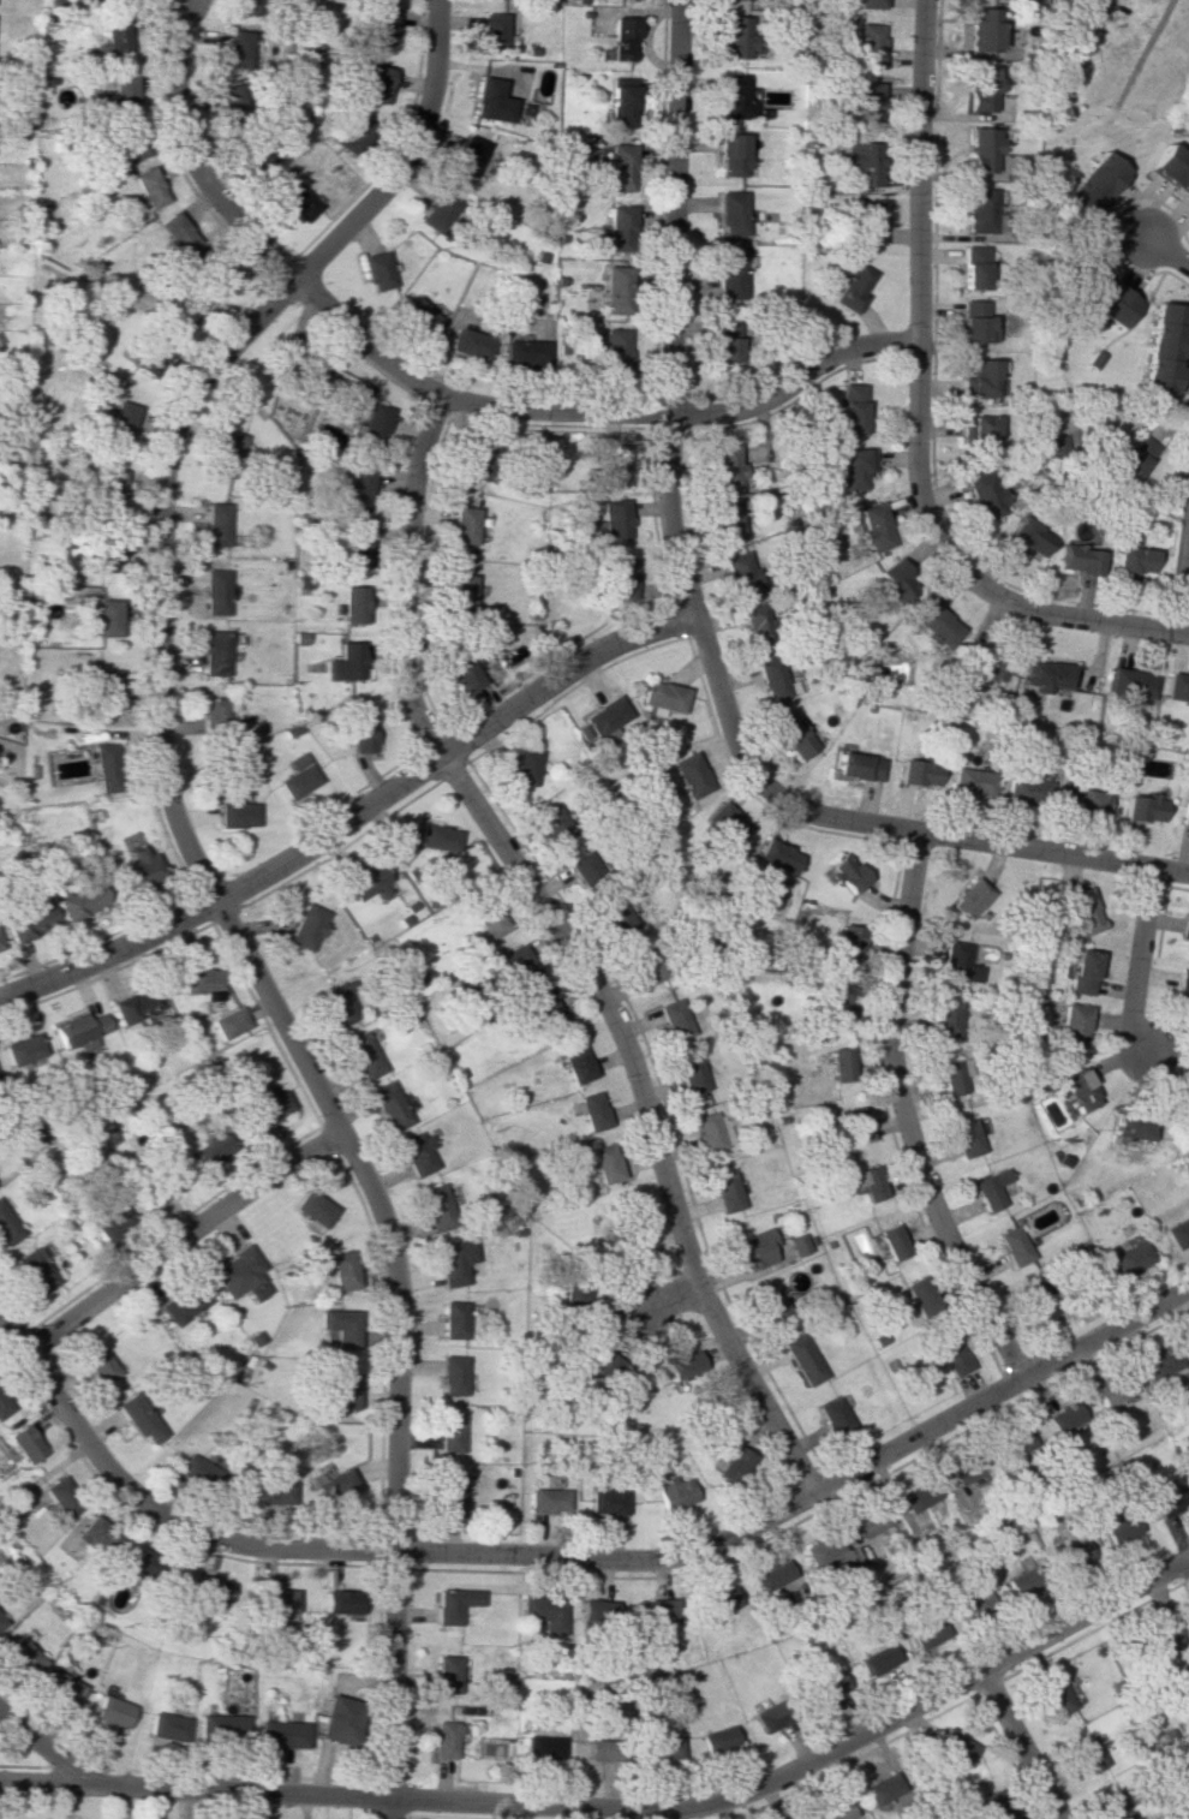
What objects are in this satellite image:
building: (1094, 1)
building: (871, 4)
building: (249, 7)
building: (382, 25)
building: (982, 29)
building: (490, 30)
building: (115, 35)
building: (736, 36)
building: (623, 38)
building: (867, 44)
building: (378, 84)
building: (980, 88)
building: (124, 90)
building: (228, 93)
building: (734, 97)
building: (490, 101)
building: (621, 102)
building: (866, 102)
building: (354, 135)
building: (129, 141)
building: (257, 153)
building: (468, 155)
building: (731, 155)
road: (193, 159)
building: (860, 162)
building: (619, 167)
building: (1170, 169)
building: (151, 186)
building: (1088, 187)
building: (299, 202)
building: (980, 210)
building: (440, 211)
building: (730, 213)
building: (868, 222)
building: (619, 228)
building: (178, 231)
road: (1165, 252)
building: (972, 267)
building: (378, 272)
building: (728, 275)
building: (852, 287)
building: (614, 290)
building: (1098, 294)
building: (419, 316)
building: (973, 323)
road: (366, 342)
building: (470, 344)
building: (723, 344)
building: (1160, 350)
building: (610, 351)
building: (522, 353)
building: (979, 378)
building: (850, 408)
road: (916, 412)
road: (687, 413)
building: (123, 419)
building: (372, 424)
building: (979, 436)
building: (1056, 442)
building: (1134, 458)
building: (482, 461)
building: (610, 464)
building: (725, 466)
building: (854, 467)
building: (113, 487)
building: (357, 489)
building: (982, 495)
building: (724, 519)
building: (610, 520)
building: (216, 524)
building: (464, 525)
building: (873, 526)
building: (1024, 537)
building: (355, 545)
building: (1077, 559)
building: (1133, 560)
building: (739, 573)
building: (620, 577)
road: (406, 578)
building: (897, 580)
road: (1182, 582)
building: (215, 591)
building: (459, 592)
building: (352, 604)
building: (108, 618)
road: (692, 618)
building: (754, 625)
building: (936, 626)
building: (215, 652)
building: (345, 662)
building: (988, 667)
road: (560, 672)
building: (462, 673)
building: (1048, 674)
building: (773, 679)
building: (1131, 685)
building: (1176, 688)
building: (108, 690)
building: (662, 697)
building: (214, 712)
building: (605, 717)
building: (360, 733)
building: (791, 734)
building: (107, 767)
building: (524, 767)
building: (859, 767)
building: (918, 774)
building: (688, 775)
building: (297, 776)
building: (972, 782)
building: (1027, 789)
building: (1083, 800)
building: (1142, 807)
building: (238, 815)
building: (1184, 815)
building: (552, 824)
building: (725, 824)
building: (437, 837)
building: (777, 857)
building: (582, 867)
building: (141, 869)
building: (843, 873)
building: (364, 879)
road: (205, 881)
road: (229, 893)
building: (970, 899)
building: (82, 902)
building: (1085, 911)
building: (614, 917)
building: (488, 919)
building: (31, 923)
building: (307, 926)
building: (1187, 930)
building: (848, 941)
building: (0, 946)
building: (958, 962)
road: (1140, 962)
building: (516, 964)
building: (646, 966)
building: (1082, 972)
building: (202, 982)
building: (1183, 991)
building: (840, 995)
building: (336, 1004)
building: (136, 1006)
building: (545, 1013)
building: (673, 1018)
building: (946, 1019)
building: (231, 1022)
building: (1073, 1025)
building: (80, 1028)
building: (23, 1051)
building: (362, 1055)
building: (575, 1063)
building: (841, 1064)
building: (691, 1073)
building: (951, 1077)
building: (1080, 1090)
building: (268, 1104)
building: (389, 1105)
building: (1182, 1109)
building: (590, 1110)
road: (647, 1113)
road: (904, 1115)
building: (854, 1126)
building: (1131, 1126)
building: (710, 1131)
building: (967, 1138)
building: (214, 1149)
building: (418, 1153)
building: (599, 1162)
building: (866, 1182)
building: (166, 1185)
building: (991, 1188)
building: (724, 1192)
building: (437, 1206)
building: (315, 1209)
building: (112, 1221)
building: (7, 1227)
building: (1178, 1231)
road: (181, 1240)
building: (892, 1242)
building: (796, 1245)
building: (1014, 1246)
building: (753, 1250)
building: (1133, 1258)
building: (456, 1260)
building: (36, 1270)
building: (342, 1271)
building: (243, 1275)
building: (920, 1294)
road: (673, 1295)
building: (1042, 1299)
building: (184, 1302)
building: (772, 1306)
building: (455, 1319)
building: (341, 1325)
building: (952, 1356)
building: (801, 1359)
building: (598, 1364)
building: (1158, 1364)
building: (101, 1365)
building: (685, 1365)
building: (454, 1374)
road: (998, 1388)
building: (1110, 1389)
building: (347, 1390)
building: (4, 1406)
building: (141, 1417)
building: (830, 1417)
building: (1062, 1417)
building: (452, 1432)
building: (25, 1443)
building: (1017, 1443)
building: (734, 1462)
building: (198, 1473)
building: (334, 1487)
building: (276, 1491)
building: (674, 1491)
building: (452, 1495)
building: (62, 1496)
building: (918, 1496)
building: (549, 1499)
building: (608, 1502)
building: (1171, 1502)
building: (868, 1522)
building: (1121, 1528)
building: (97, 1534)
road: (362, 1549)
building: (819, 1549)
building: (1076, 1555)
road: (1188, 1561)
building: (773, 1573)
building: (135, 1574)
building: (1018, 1584)
building: (213, 1592)
building: (719, 1599)
building: (277, 1600)
building: (342, 1603)
building: (453, 1604)
building: (978, 1606)
building: (656, 1611)
building: (545, 1612)
building: (597, 1612)
road: (1085, 1614)
building: (0, 1622)
building: (925, 1629)
building: (1165, 1635)
building: (20, 1656)
building: (877, 1659)
building: (446, 1674)
building: (1188, 1682)
building: (826, 1687)
building: (61, 1688)
building: (1056, 1696)
building: (110, 1711)
building: (771, 1716)
building: (336, 1720)
building: (219, 1726)
building: (163, 1728)
building: (279, 1734)
building: (442, 1739)
building: (718, 1739)
road: (1020, 1745)
building: (543, 1747)
building: (955, 1747)
road: (43, 1749)
building: (664, 1749)
building: (604, 1751)
building: (1087, 1753)
building: (880, 1789)
road: (506, 1802)
building: (1115, 1805)
building: (993, 1806)
building: (834, 1811)

